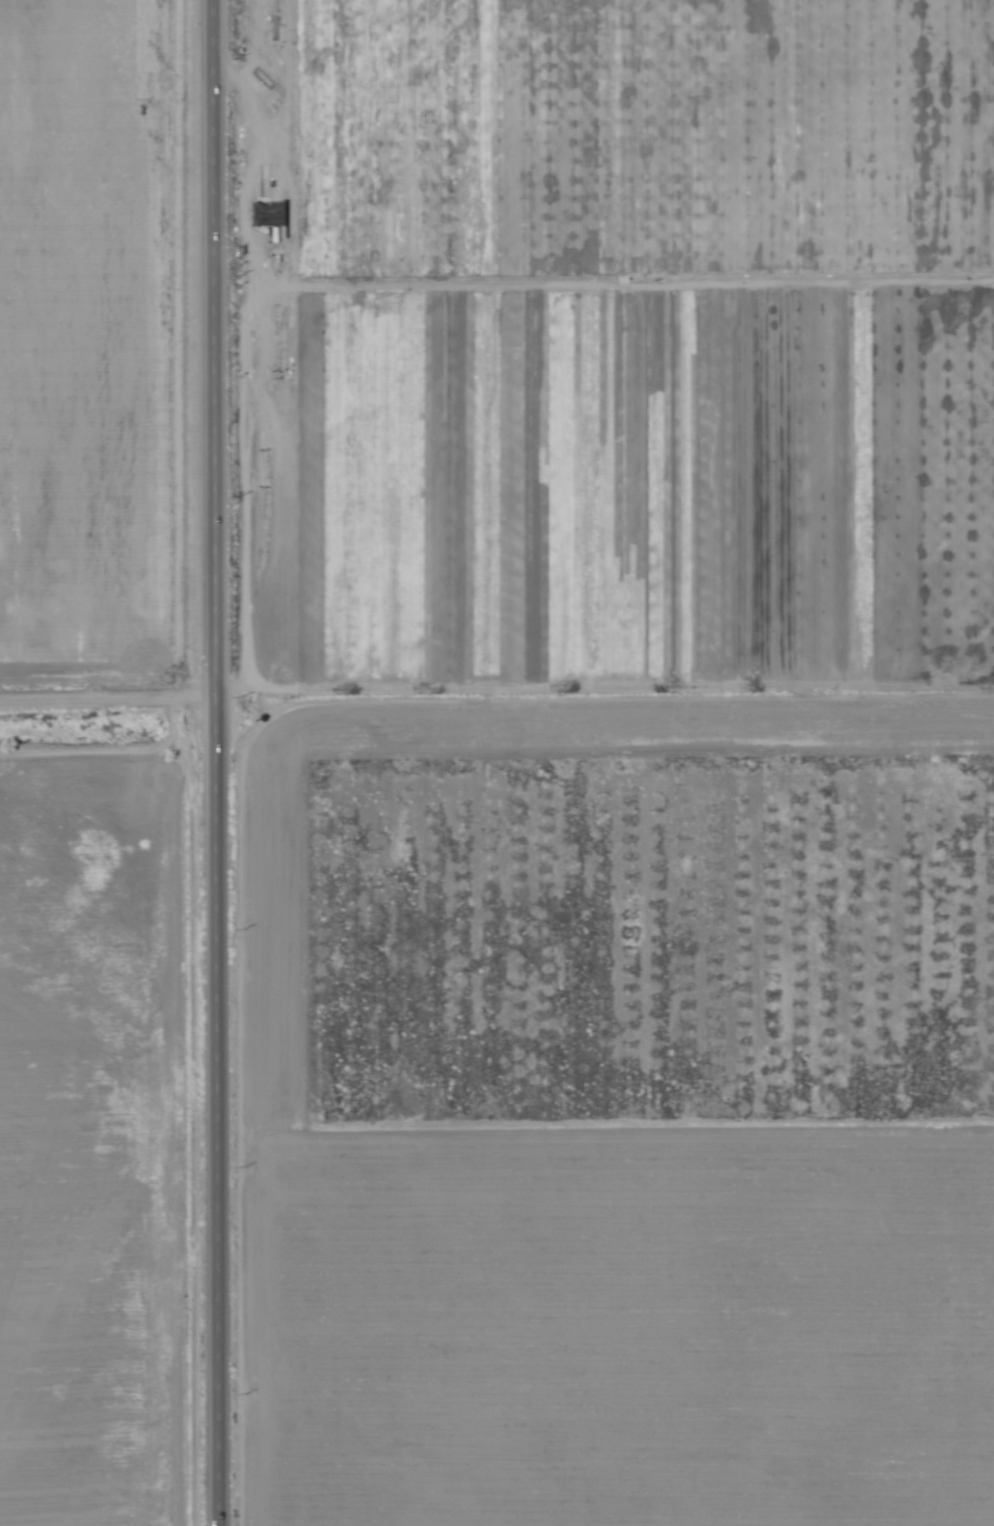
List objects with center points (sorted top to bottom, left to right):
road: (111, 727)
road: (222, 763)

